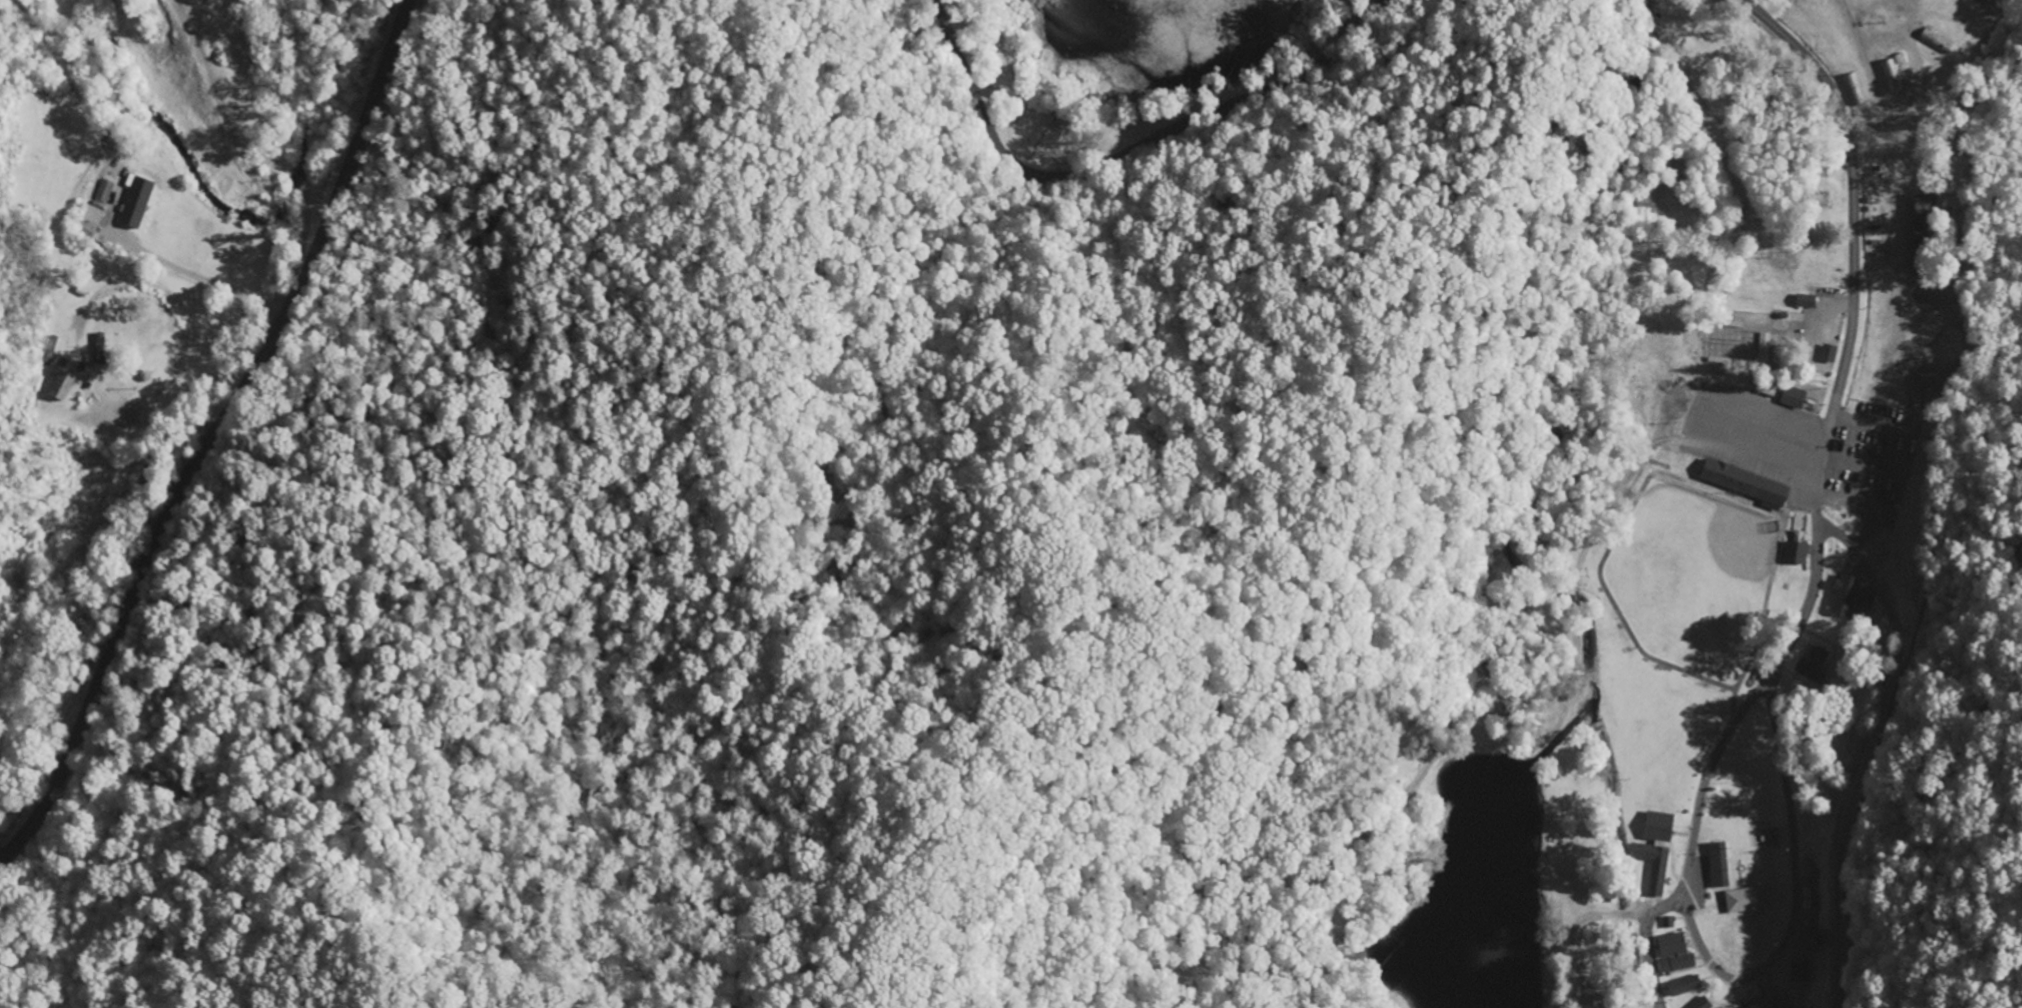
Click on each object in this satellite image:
building: (1985, 1)
building: (1891, 75)
road: (1122, 153)
building: (103, 195)
building: (136, 203)
building: (89, 221)
building: (1922, 228)
road: (1852, 246)
building: (1806, 301)
building: (1829, 353)
building: (62, 386)
building: (1794, 397)
road: (215, 435)
building: (1745, 483)
building: (1796, 553)
road: (1815, 568)
building: (1845, 596)
building: (1867, 604)
building: (1812, 664)
road: (1863, 752)
building: (1656, 848)
building: (1719, 865)
building: (1747, 899)
building: (1675, 952)
building: (1684, 985)
building: (1701, 1003)
building: (1771, 1003)

